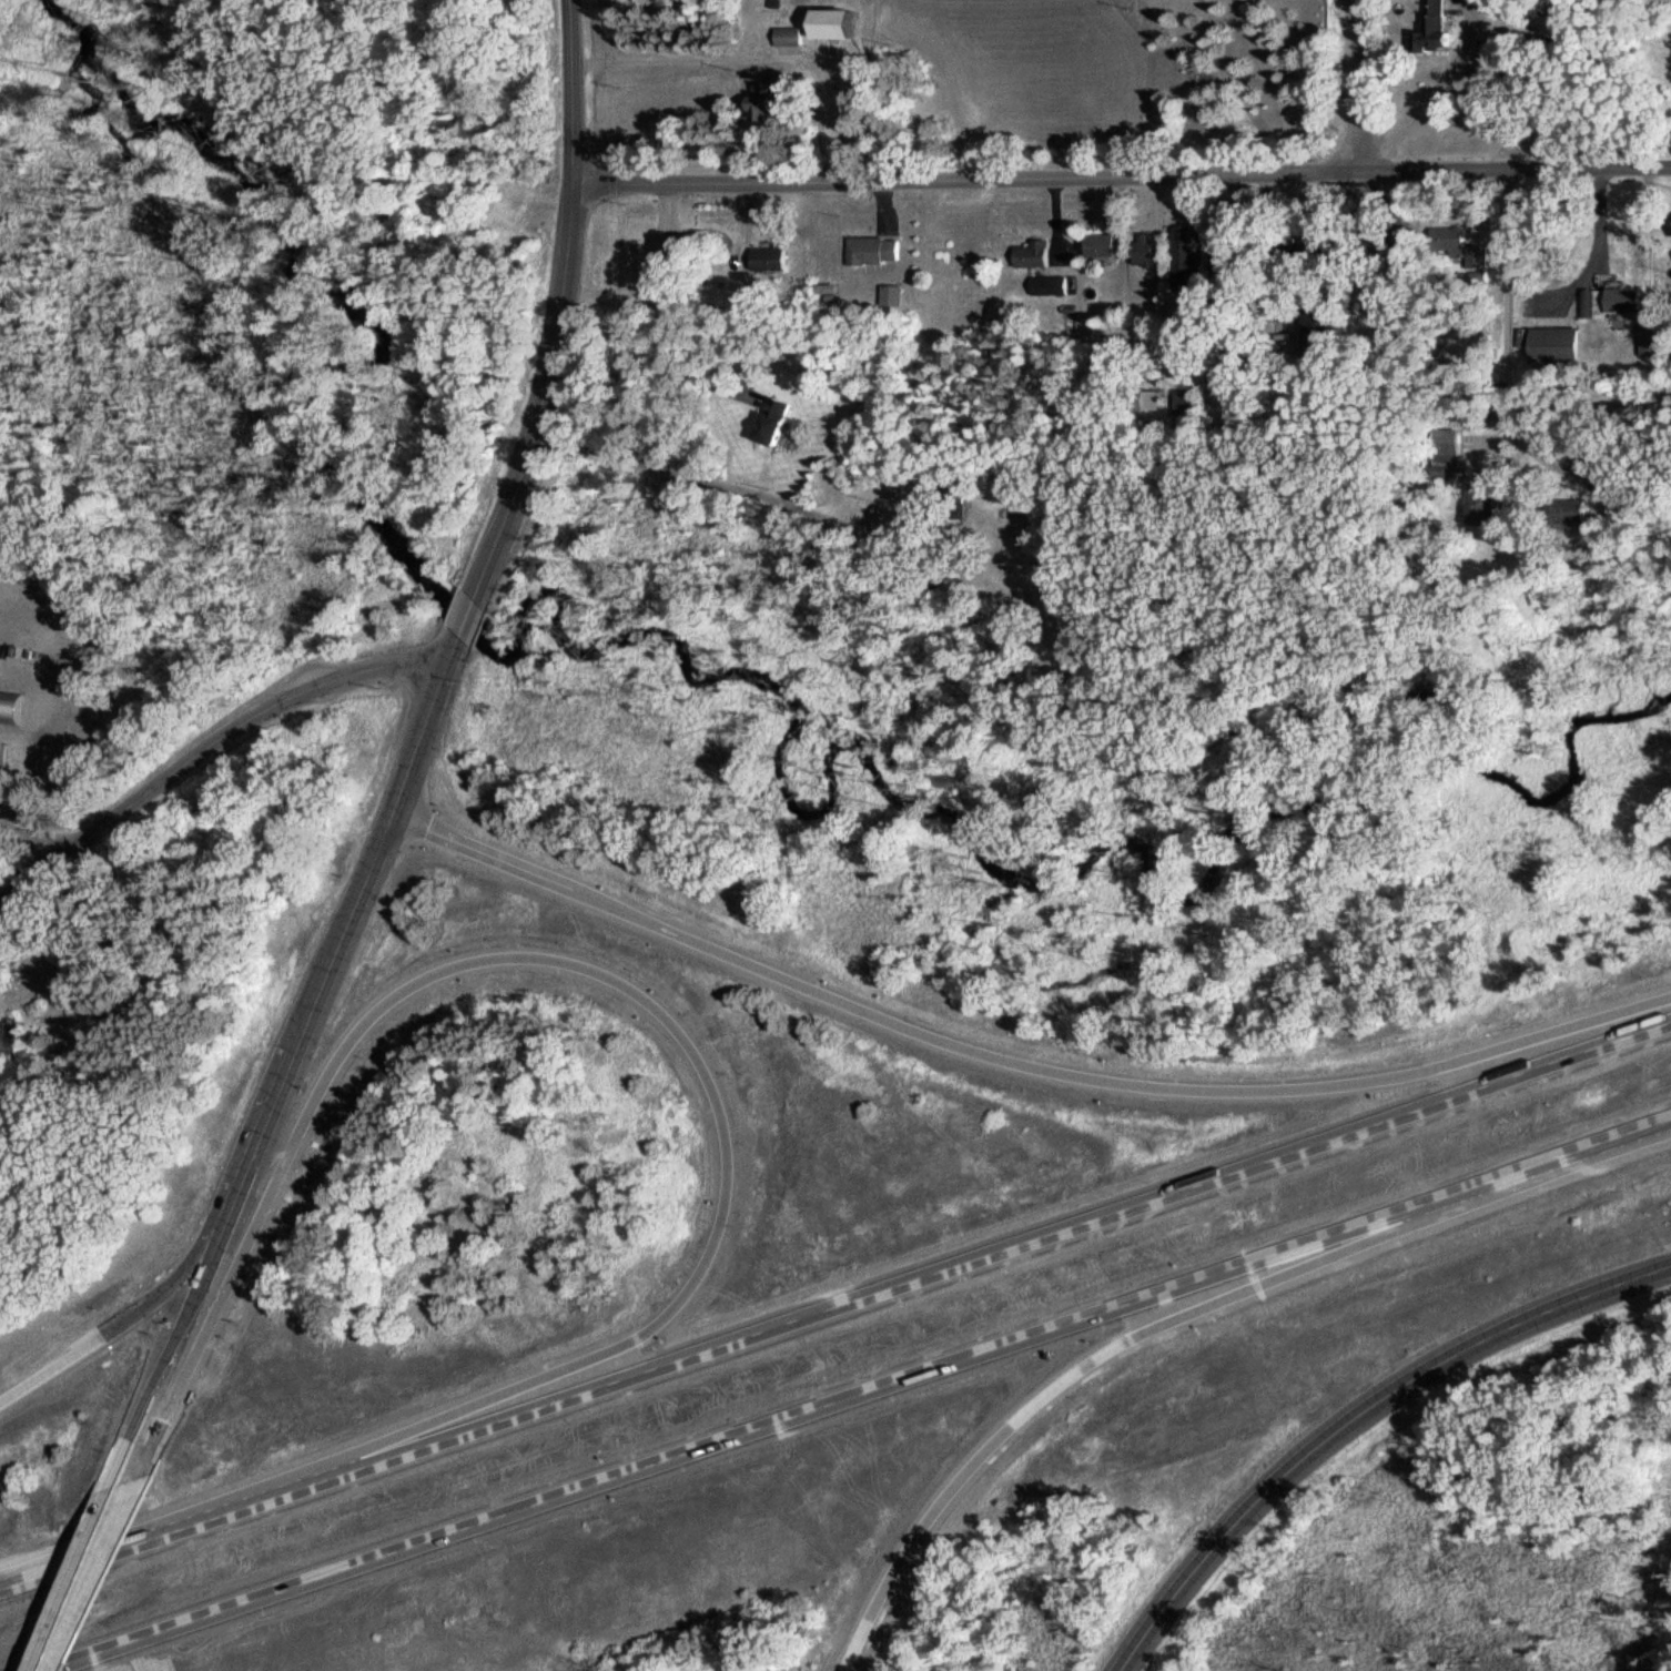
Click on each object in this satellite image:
building: (832, 23)
building: (1430, 28)
building: (787, 34)
road: (667, 57)
road: (1270, 83)
road: (1355, 87)
road: (1424, 99)
building: (762, 101)
road: (1117, 175)
building: (1445, 237)
building: (1097, 244)
building: (870, 249)
building: (1141, 249)
building: (1029, 253)
building: (1179, 256)
building: (767, 257)
road: (645, 269)
building: (1049, 284)
building: (889, 294)
building: (1608, 301)
road: (555, 306)
road: (1506, 316)
building: (1318, 330)
building: (1553, 343)
building: (1651, 344)
road: (658, 354)
building: (1183, 402)
building: (771, 419)
building: (1446, 452)
road: (700, 479)
building: (1479, 504)
road: (462, 610)
building: (10, 706)
road: (204, 743)
building: (1, 753)
road: (579, 971)
building: (8, 1037)
road: (288, 1040)
road: (1010, 1059)
road: (834, 1300)
road: (99, 1320)
road: (1101, 1348)
road: (850, 1392)
road: (1354, 1414)
road: (78, 1564)

